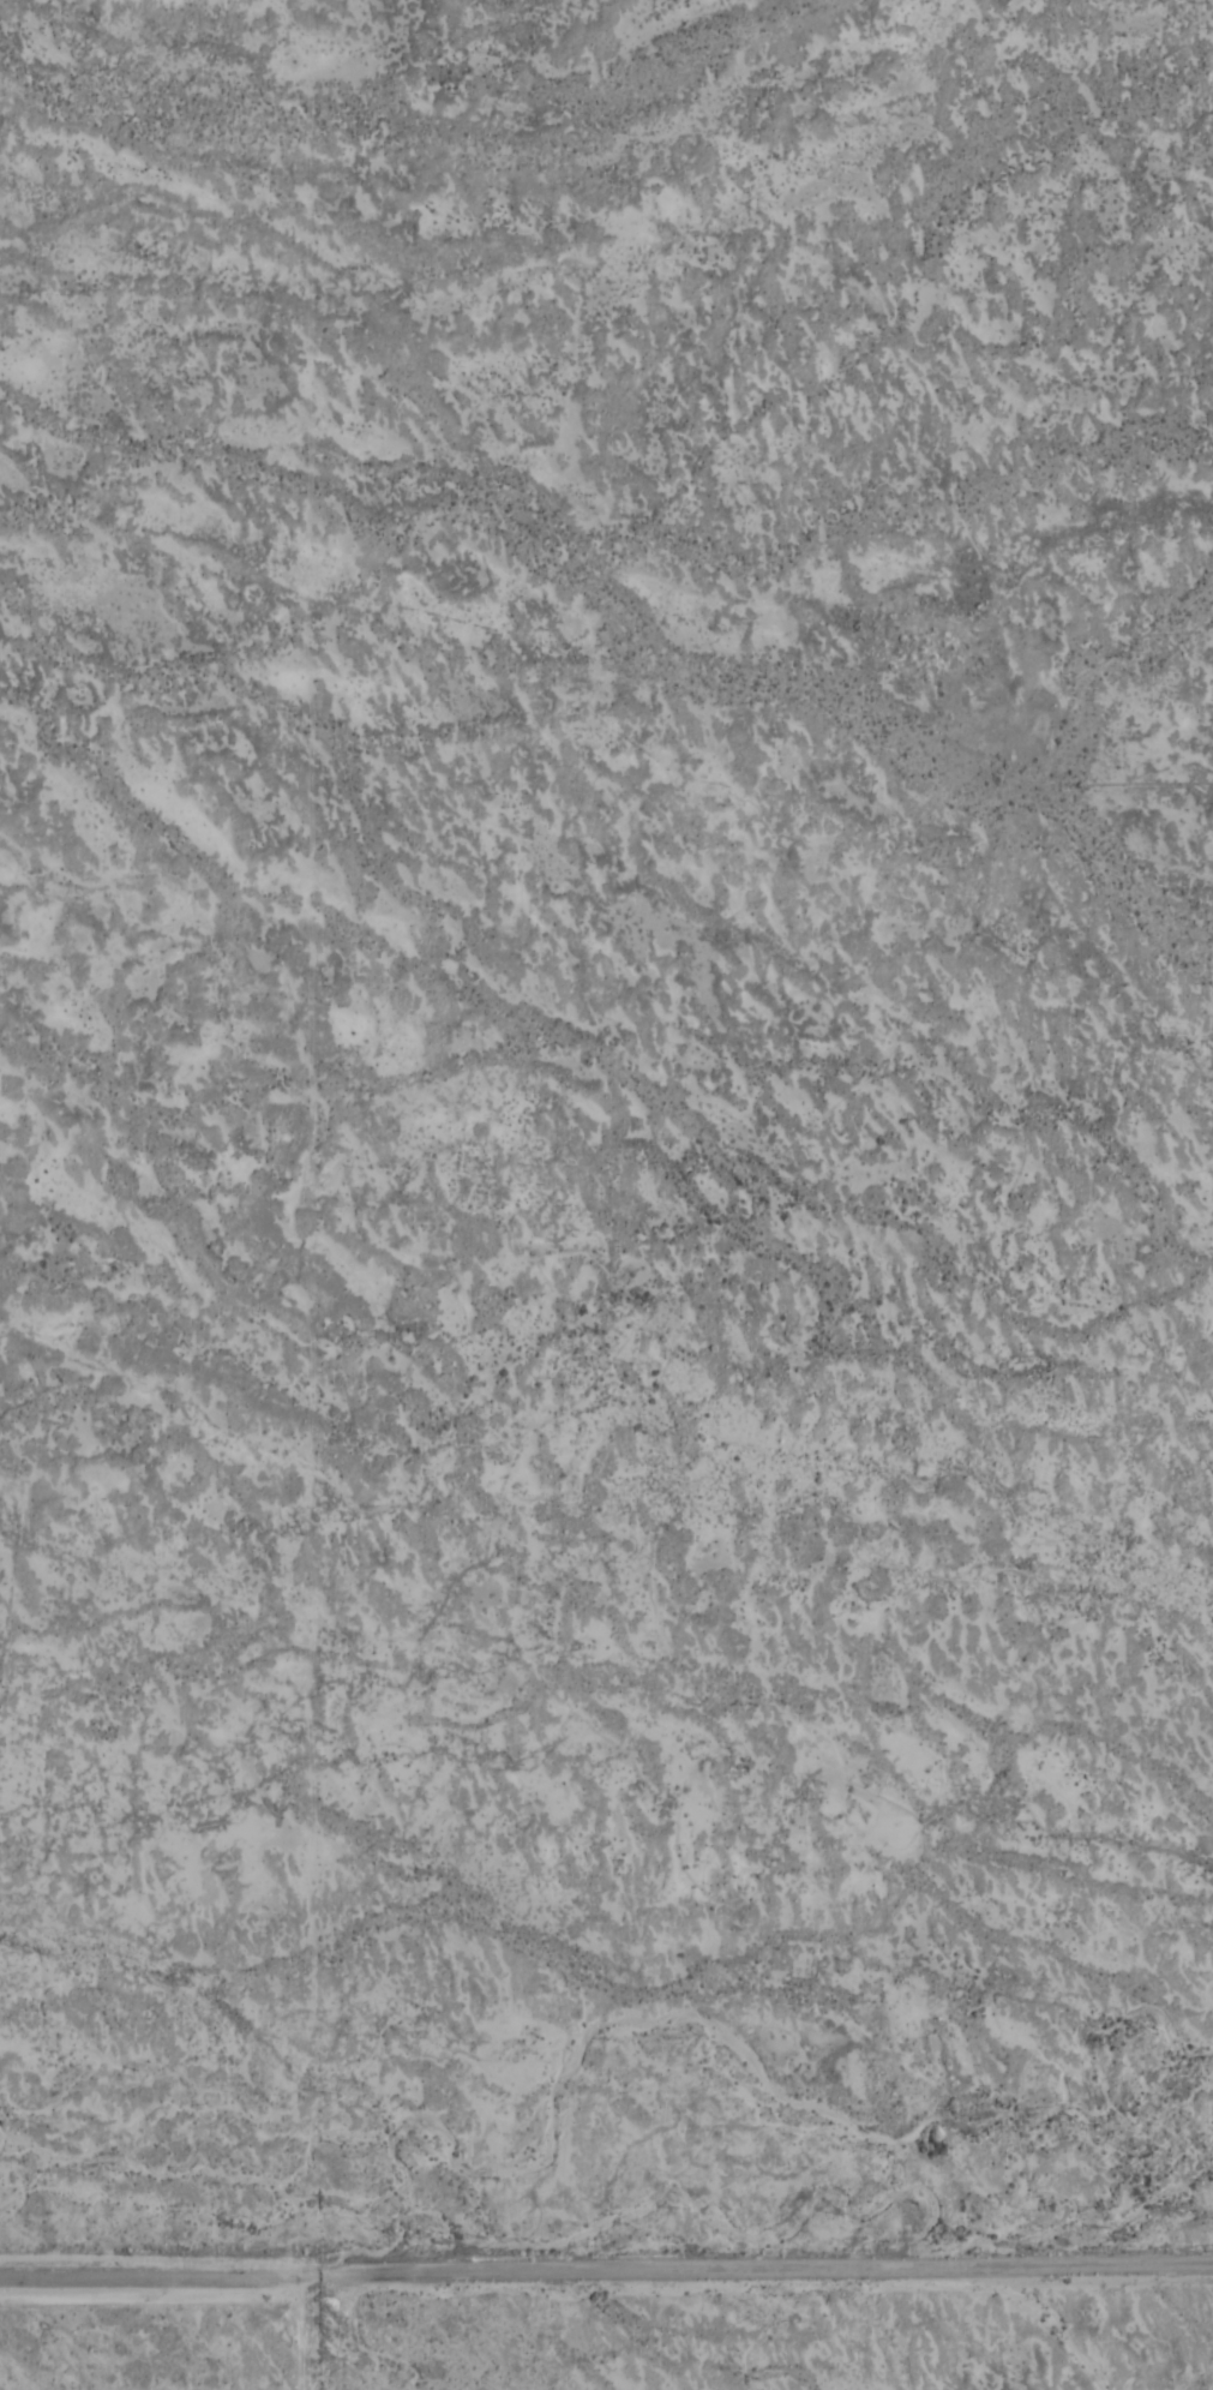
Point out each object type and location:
road: (767, 2266)
road: (161, 2272)

